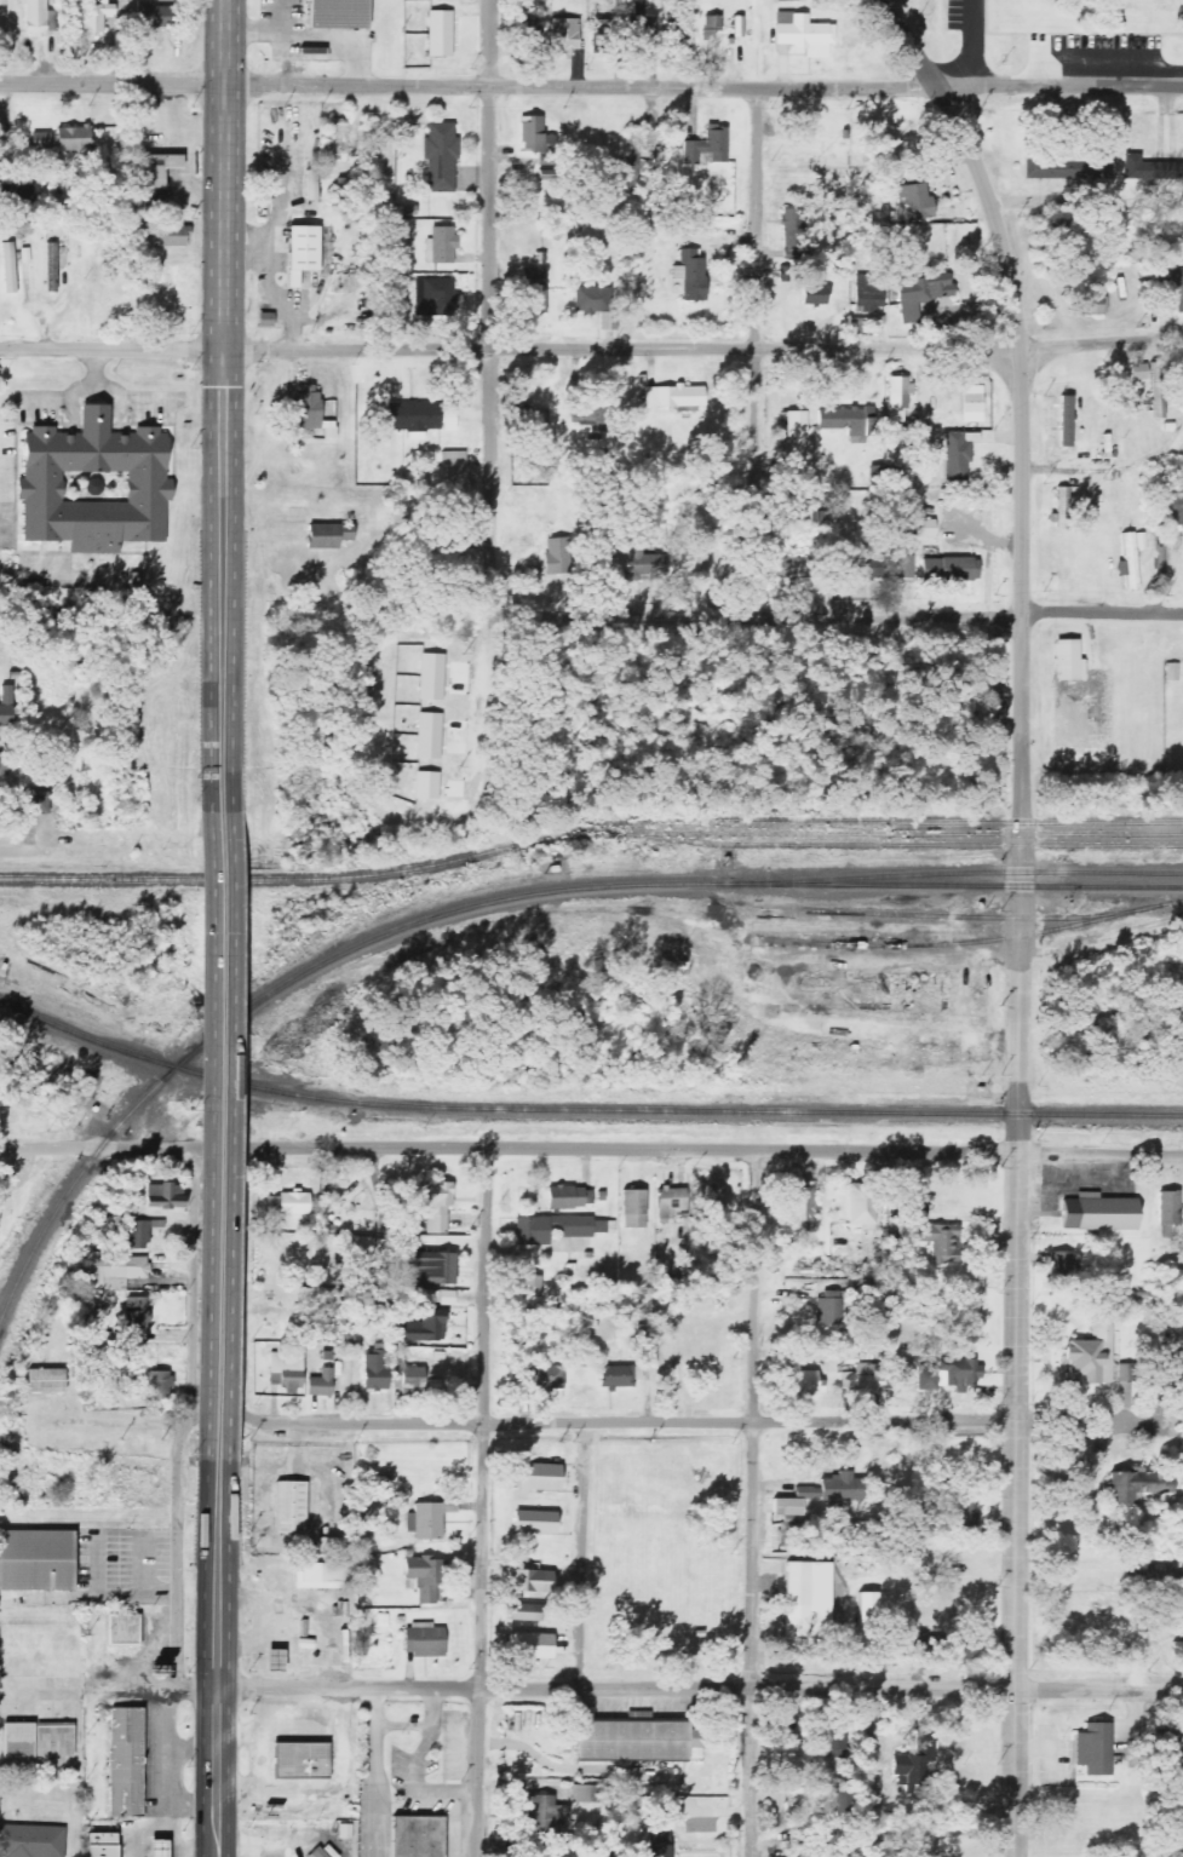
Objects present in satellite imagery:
building: (156, 13)
building: (334, 13)
building: (96, 15)
building: (38, 18)
building: (533, 27)
building: (638, 27)
building: (737, 27)
building: (711, 31)
building: (441, 33)
building: (564, 34)
building: (676, 34)
building: (804, 34)
building: (603, 35)
road: (974, 42)
road: (114, 85)
road: (706, 88)
building: (63, 139)
building: (340, 139)
building: (707, 146)
building: (441, 156)
building: (153, 168)
building: (1035, 168)
building: (1150, 168)
building: (1092, 169)
building: (310, 184)
building: (917, 202)
building: (167, 235)
building: (442, 246)
building: (300, 248)
building: (10, 268)
building: (690, 274)
road: (493, 283)
building: (866, 286)
building: (1171, 289)
building: (534, 291)
building: (437, 294)
building: (814, 295)
building: (920, 295)
building: (596, 305)
building: (1091, 305)
road: (114, 347)
road: (705, 350)
road: (756, 351)
building: (1139, 372)
building: (1159, 390)
building: (898, 392)
building: (677, 397)
road: (226, 403)
building: (305, 408)
building: (414, 418)
building: (848, 420)
building: (1066, 421)
building: (794, 425)
building: (906, 449)
building: (959, 455)
building: (450, 470)
building: (92, 484)
building: (901, 499)
building: (1062, 510)
building: (1173, 510)
building: (920, 529)
building: (320, 536)
building: (1141, 542)
building: (556, 557)
building: (644, 559)
building: (1130, 563)
building: (447, 567)
building: (902, 567)
building: (861, 568)
building: (949, 570)
road: (975, 616)
building: (1069, 661)
building: (6, 706)
building: (4, 764)
building: (34, 803)
railway: (588, 830)
railway: (854, 835)
railway: (907, 845)
road: (50, 847)
railway: (952, 874)
railway: (500, 901)
road: (1021, 910)
railway: (948, 916)
railway: (905, 945)
railway: (582, 1109)
road: (220, 1133)
road: (243, 1150)
road: (835, 1151)
building: (165, 1195)
building: (570, 1197)
building: (672, 1202)
building: (712, 1202)
building: (293, 1203)
building: (431, 1203)
building: (802, 1205)
building: (861, 1205)
building: (1170, 1207)
building: (634, 1208)
building: (1097, 1212)
building: (558, 1229)
building: (930, 1231)
building: (139, 1235)
building: (430, 1265)
building: (1063, 1269)
building: (115, 1270)
building: (528, 1286)
building: (829, 1307)
building: (136, 1315)
building: (423, 1328)
building: (1160, 1336)
building: (1091, 1357)
building: (1170, 1366)
building: (287, 1370)
building: (375, 1372)
building: (1127, 1372)
building: (948, 1374)
building: (621, 1376)
building: (541, 1378)
building: (863, 1379)
building: (46, 1380)
building: (321, 1384)
building: (805, 1384)
building: (161, 1386)
road: (631, 1421)
building: (540, 1477)
building: (842, 1488)
building: (932, 1489)
building: (793, 1502)
road: (753, 1504)
building: (964, 1504)
road: (482, 1505)
building: (288, 1506)
building: (429, 1519)
building: (535, 1522)
building: (802, 1541)
road: (178, 1553)
road: (582, 1556)
building: (34, 1560)
building: (325, 1576)
building: (1162, 1576)
building: (423, 1579)
building: (532, 1581)
building: (808, 1599)
building: (868, 1608)
building: (516, 1611)
building: (125, 1629)
building: (424, 1640)
building: (530, 1646)
road: (220, 1657)
road: (157, 1686)
road: (701, 1689)
building: (1167, 1736)
building: (36, 1738)
building: (634, 1740)
building: (834, 1744)
building: (1091, 1748)
building: (298, 1758)
building: (124, 1761)
building: (914, 1764)
building: (798, 1772)
building: (591, 1793)
building: (670, 1813)
building: (542, 1815)
building: (414, 1835)
building: (659, 1836)
building: (30, 1840)
building: (98, 1845)
building: (653, 1847)
building: (565, 1849)
building: (155, 1850)
building: (802, 1851)
building: (555, 1852)
building: (317, 1853)
building: (886, 1855)

